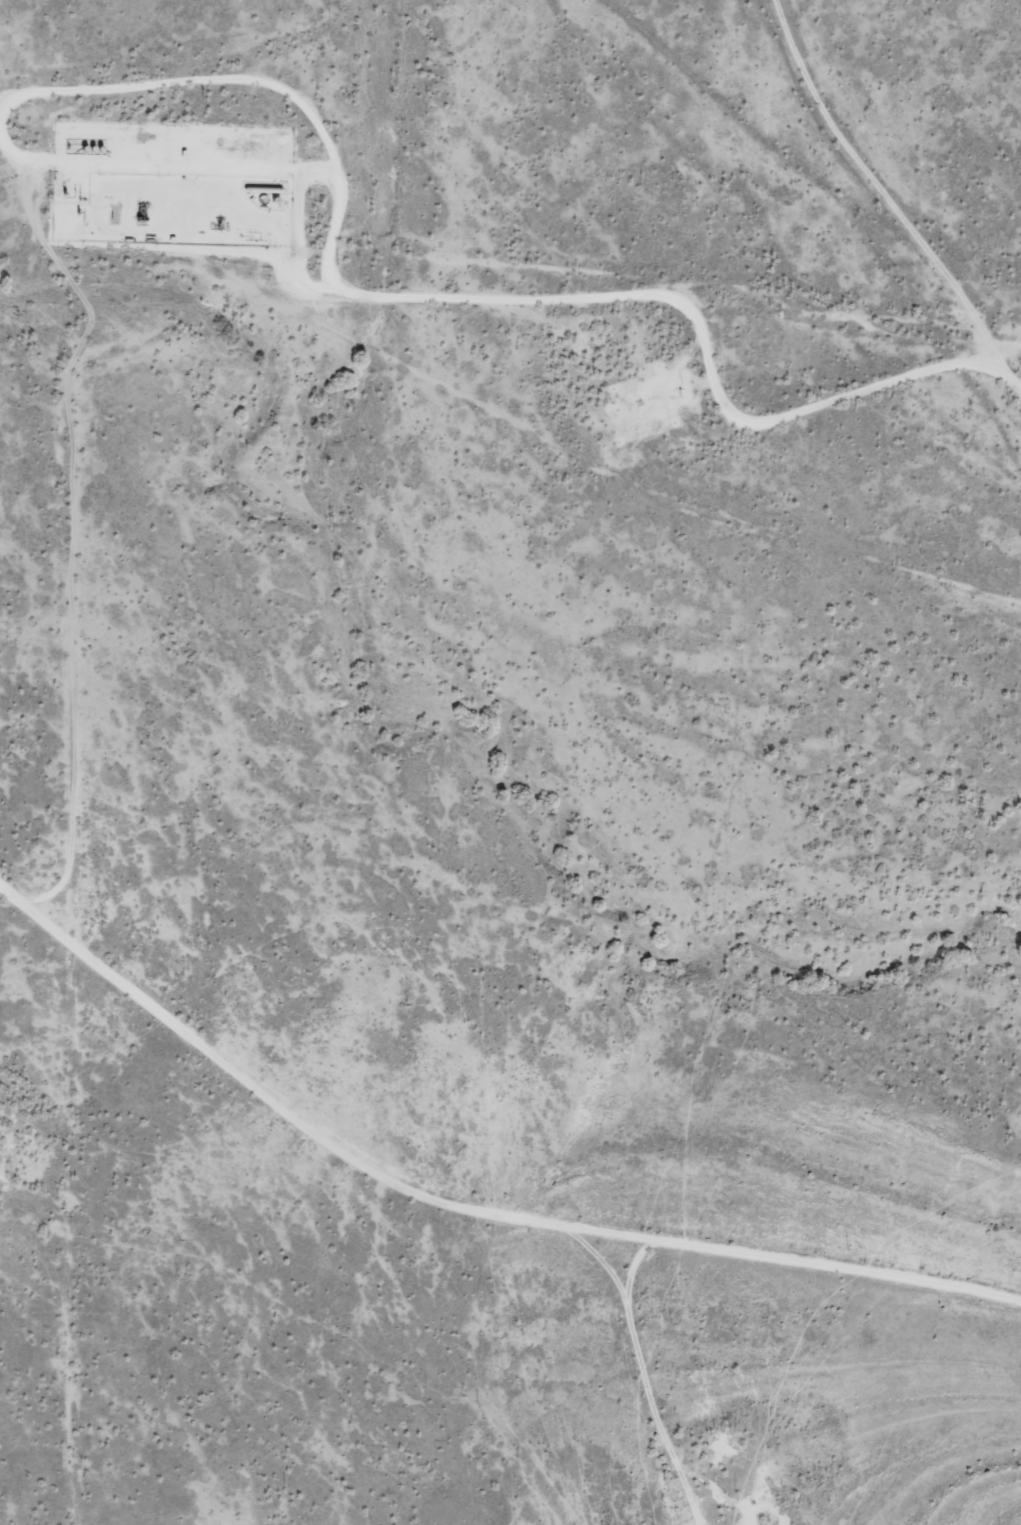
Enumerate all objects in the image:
road: (902, 174)
road: (491, 1172)

